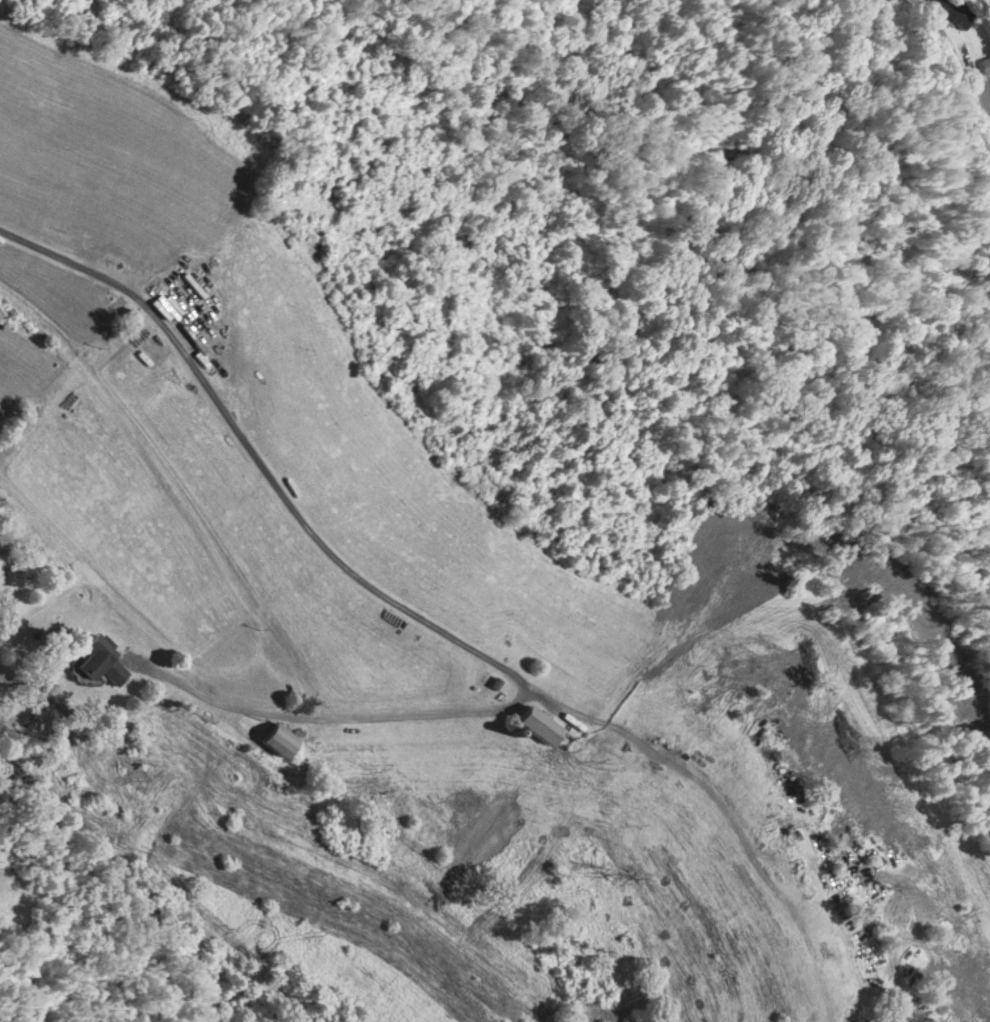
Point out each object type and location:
building: (957, 9)
building: (986, 62)
road: (262, 457)
building: (96, 660)
road: (336, 715)
building: (533, 722)
building: (271, 735)

